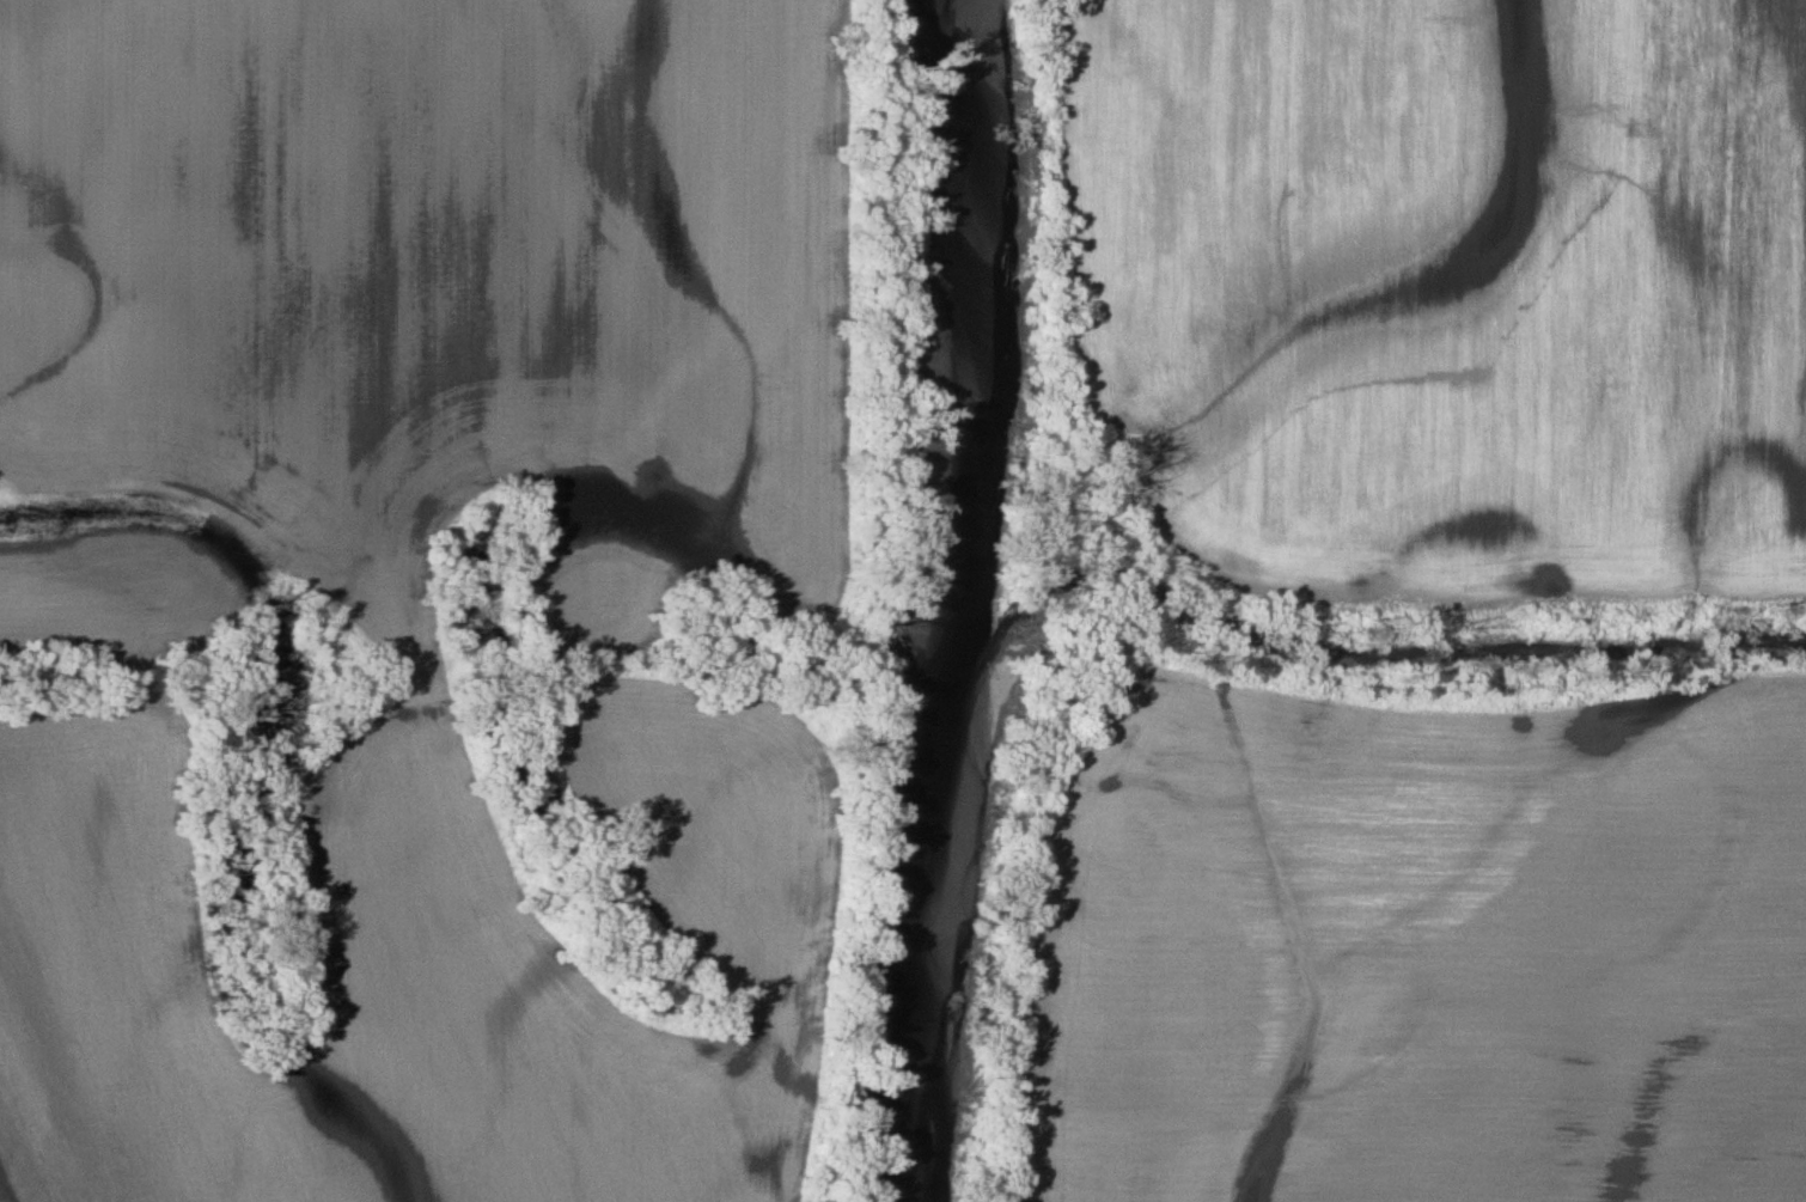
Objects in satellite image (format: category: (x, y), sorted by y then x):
crop: (1429, 951)

